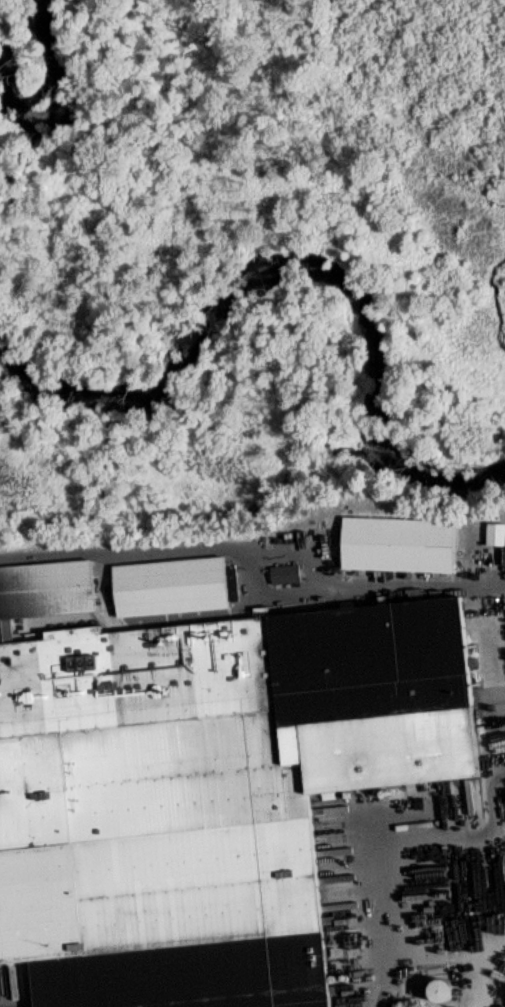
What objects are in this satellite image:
river: (369, 390)
road: (257, 550)
building: (392, 551)
building: (280, 580)
building: (164, 593)
building: (200, 795)
road: (465, 842)
road: (391, 933)

